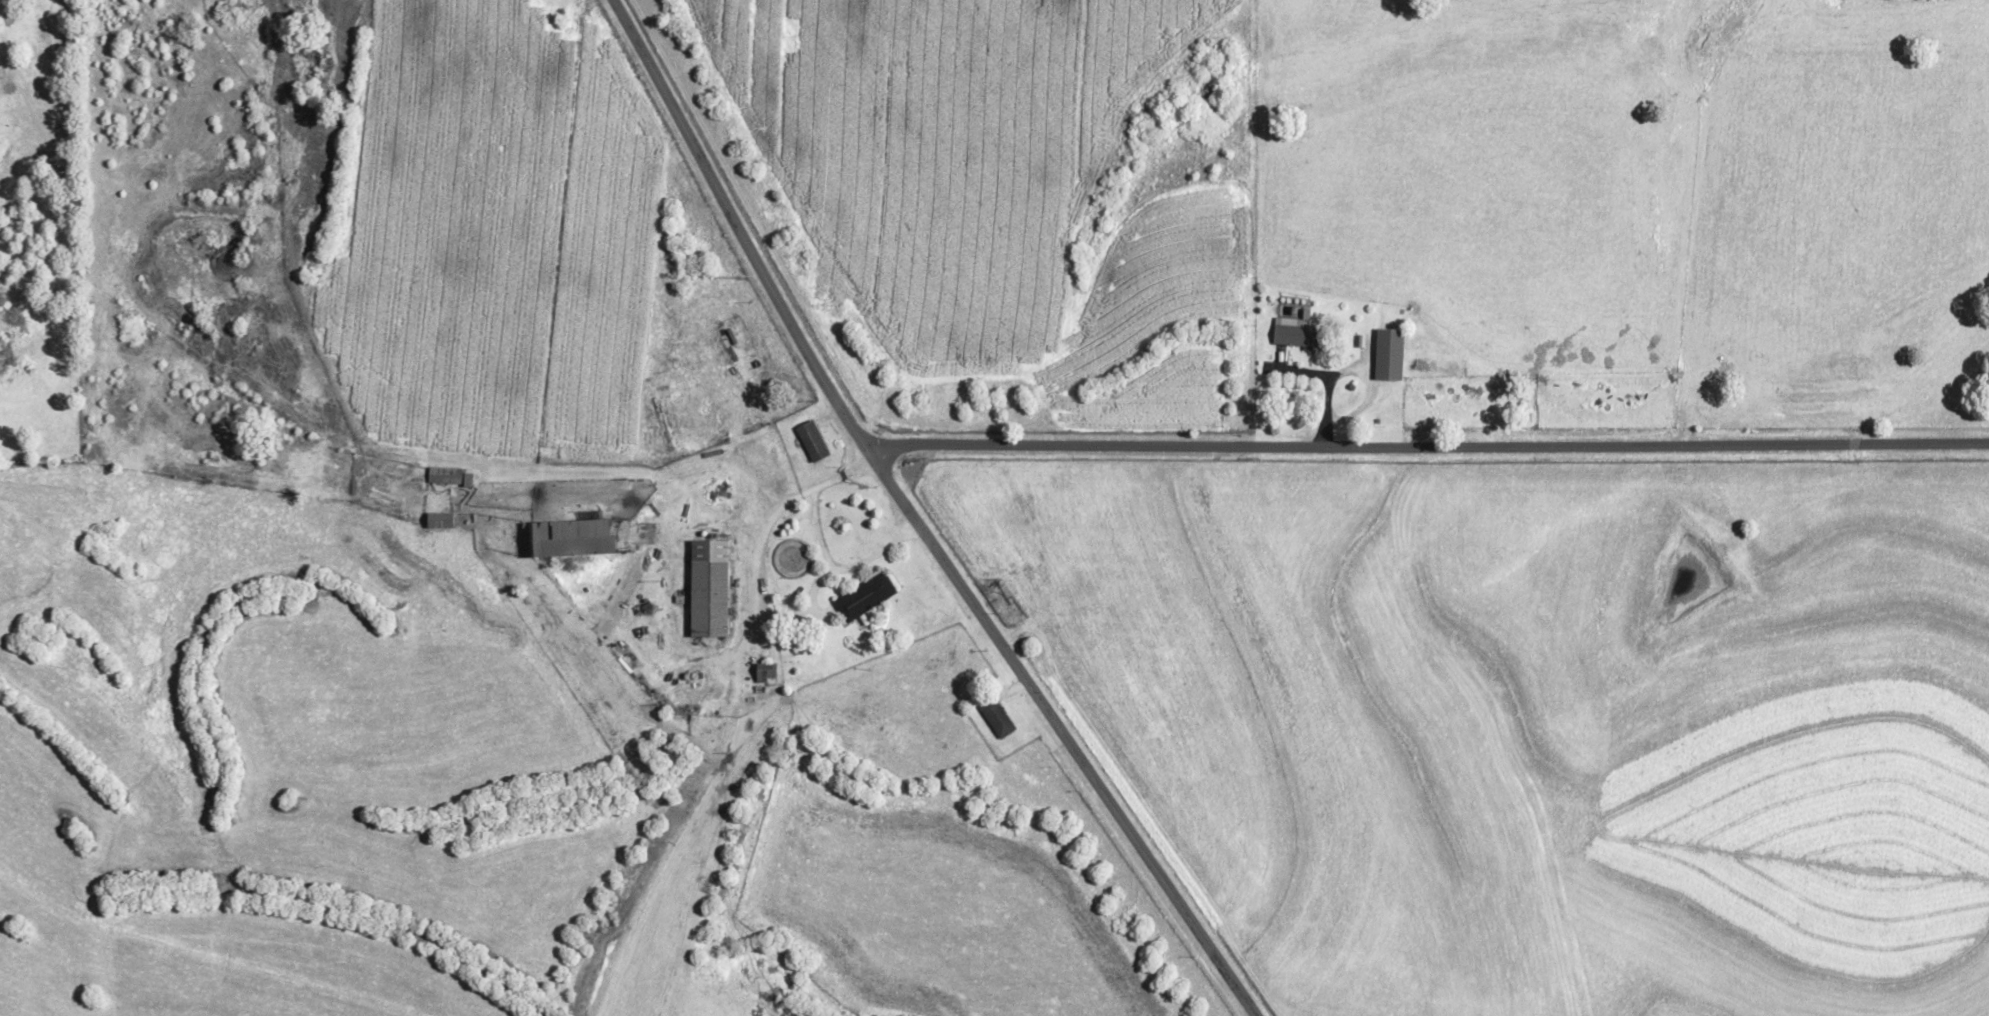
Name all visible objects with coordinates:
building: (1292, 333)
building: (1385, 354)
building: (815, 441)
road: (1426, 447)
building: (453, 476)
road: (913, 519)
building: (445, 520)
road: (766, 523)
building: (585, 538)
road: (841, 568)
building: (713, 587)
building: (869, 597)
building: (770, 672)
building: (999, 717)

